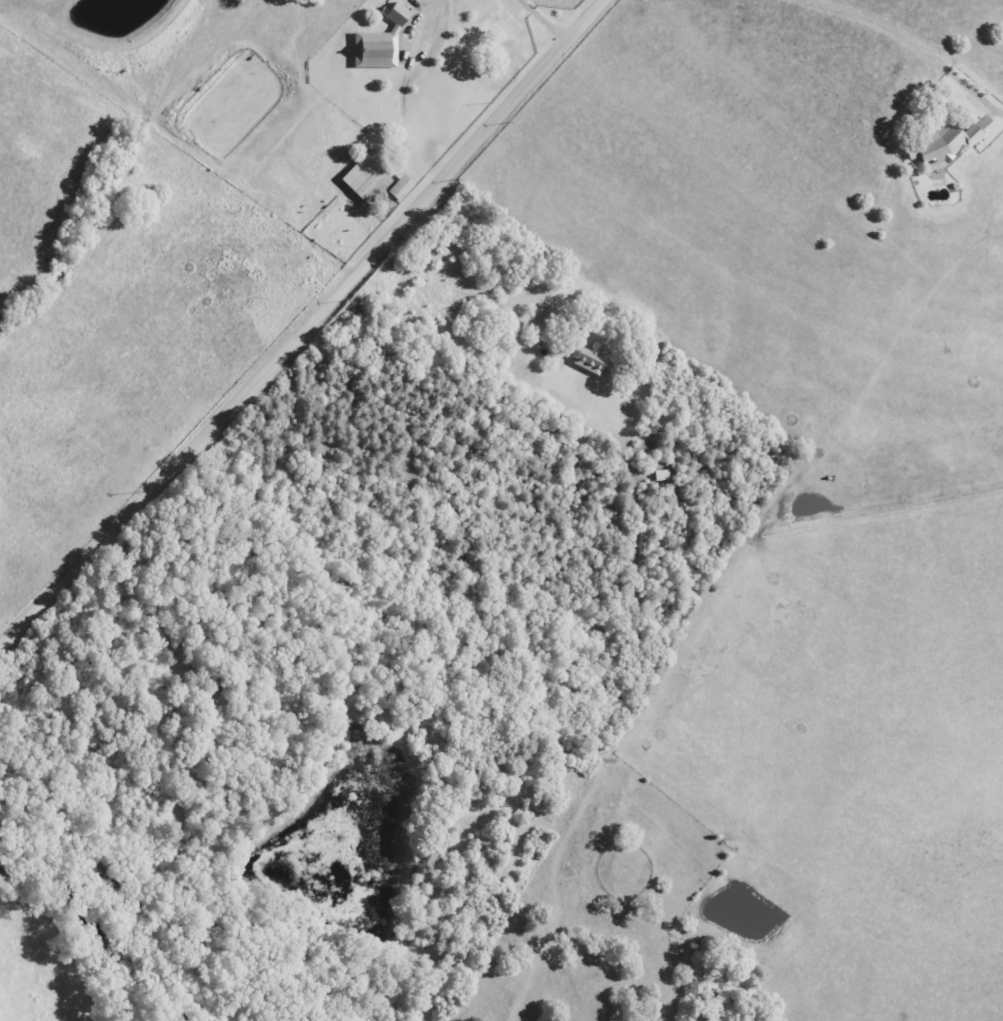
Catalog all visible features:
building: (485, 19)
building: (373, 46)
building: (936, 145)
building: (358, 179)
road: (309, 330)
building: (583, 360)

